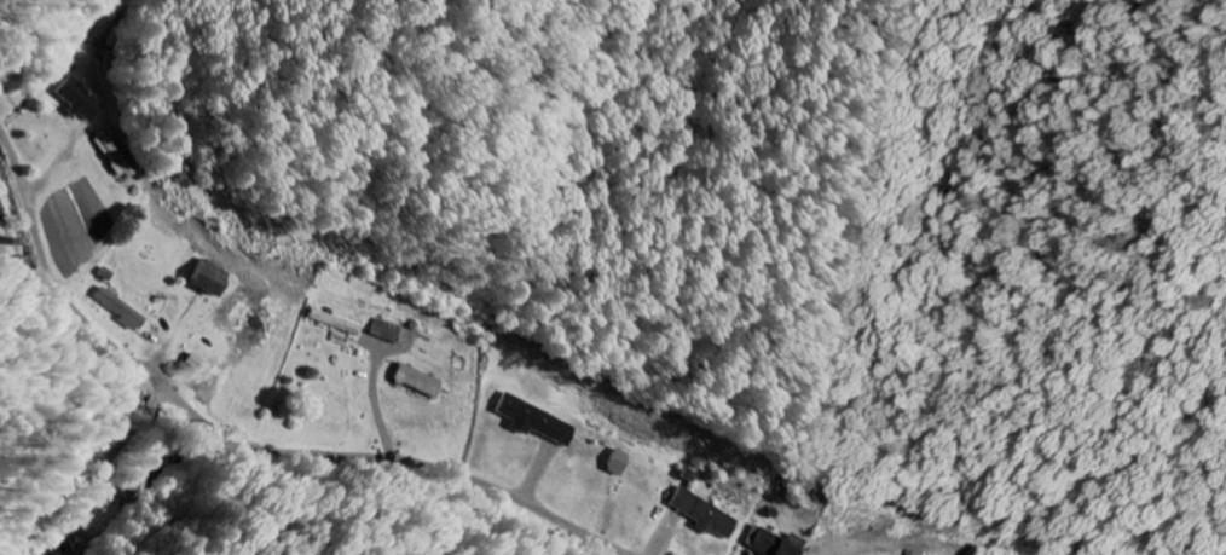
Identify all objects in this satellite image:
road: (162, 21)
building: (77, 100)
building: (115, 155)
building: (207, 278)
building: (120, 308)
building: (335, 323)
building: (387, 331)
building: (417, 381)
building: (204, 399)
building: (534, 421)
road: (245, 439)
building: (617, 463)
road: (112, 470)
building: (704, 514)
building: (774, 545)
building: (909, 554)

